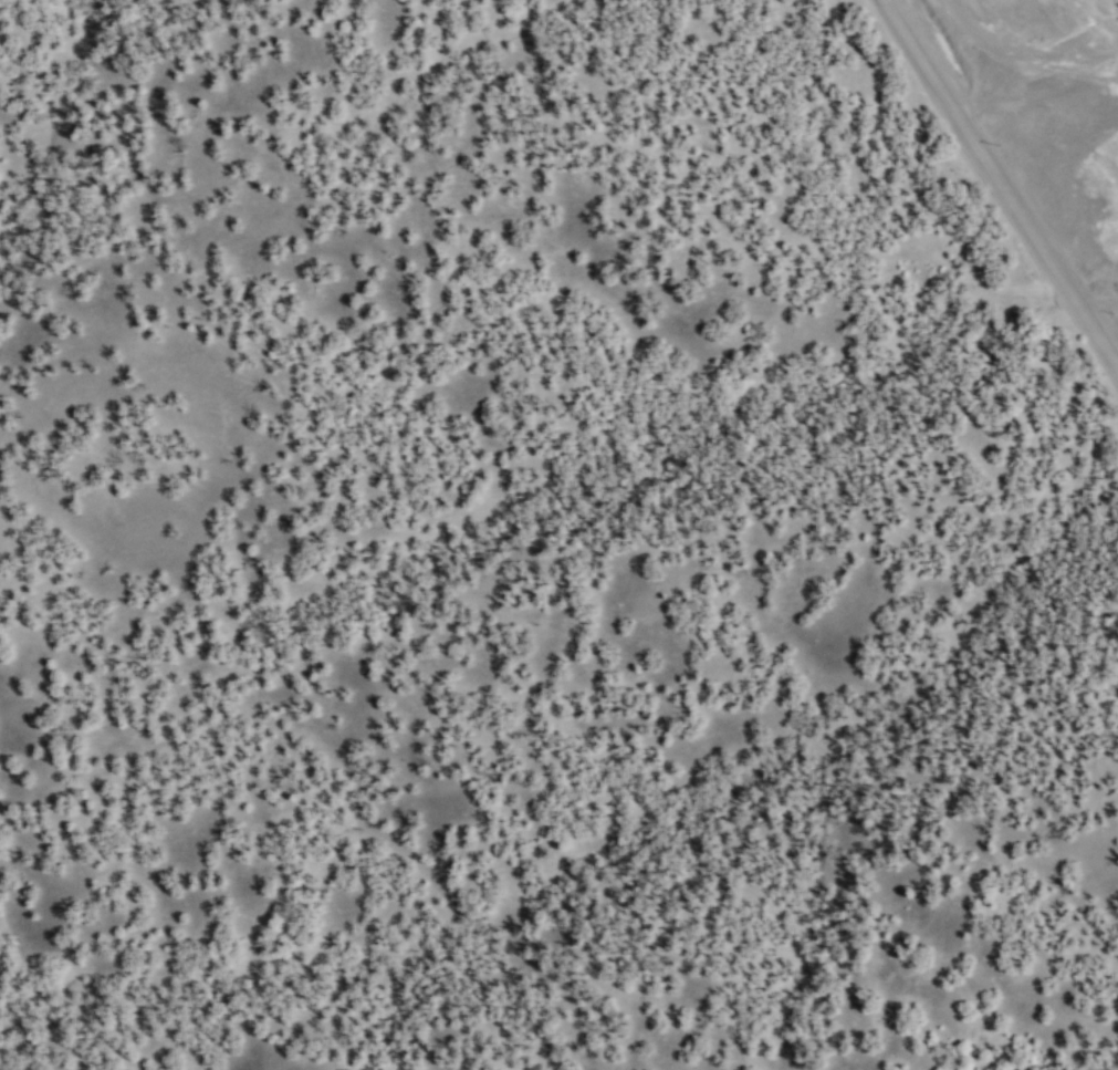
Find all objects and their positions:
river: (1116, 13)
road: (1001, 185)

